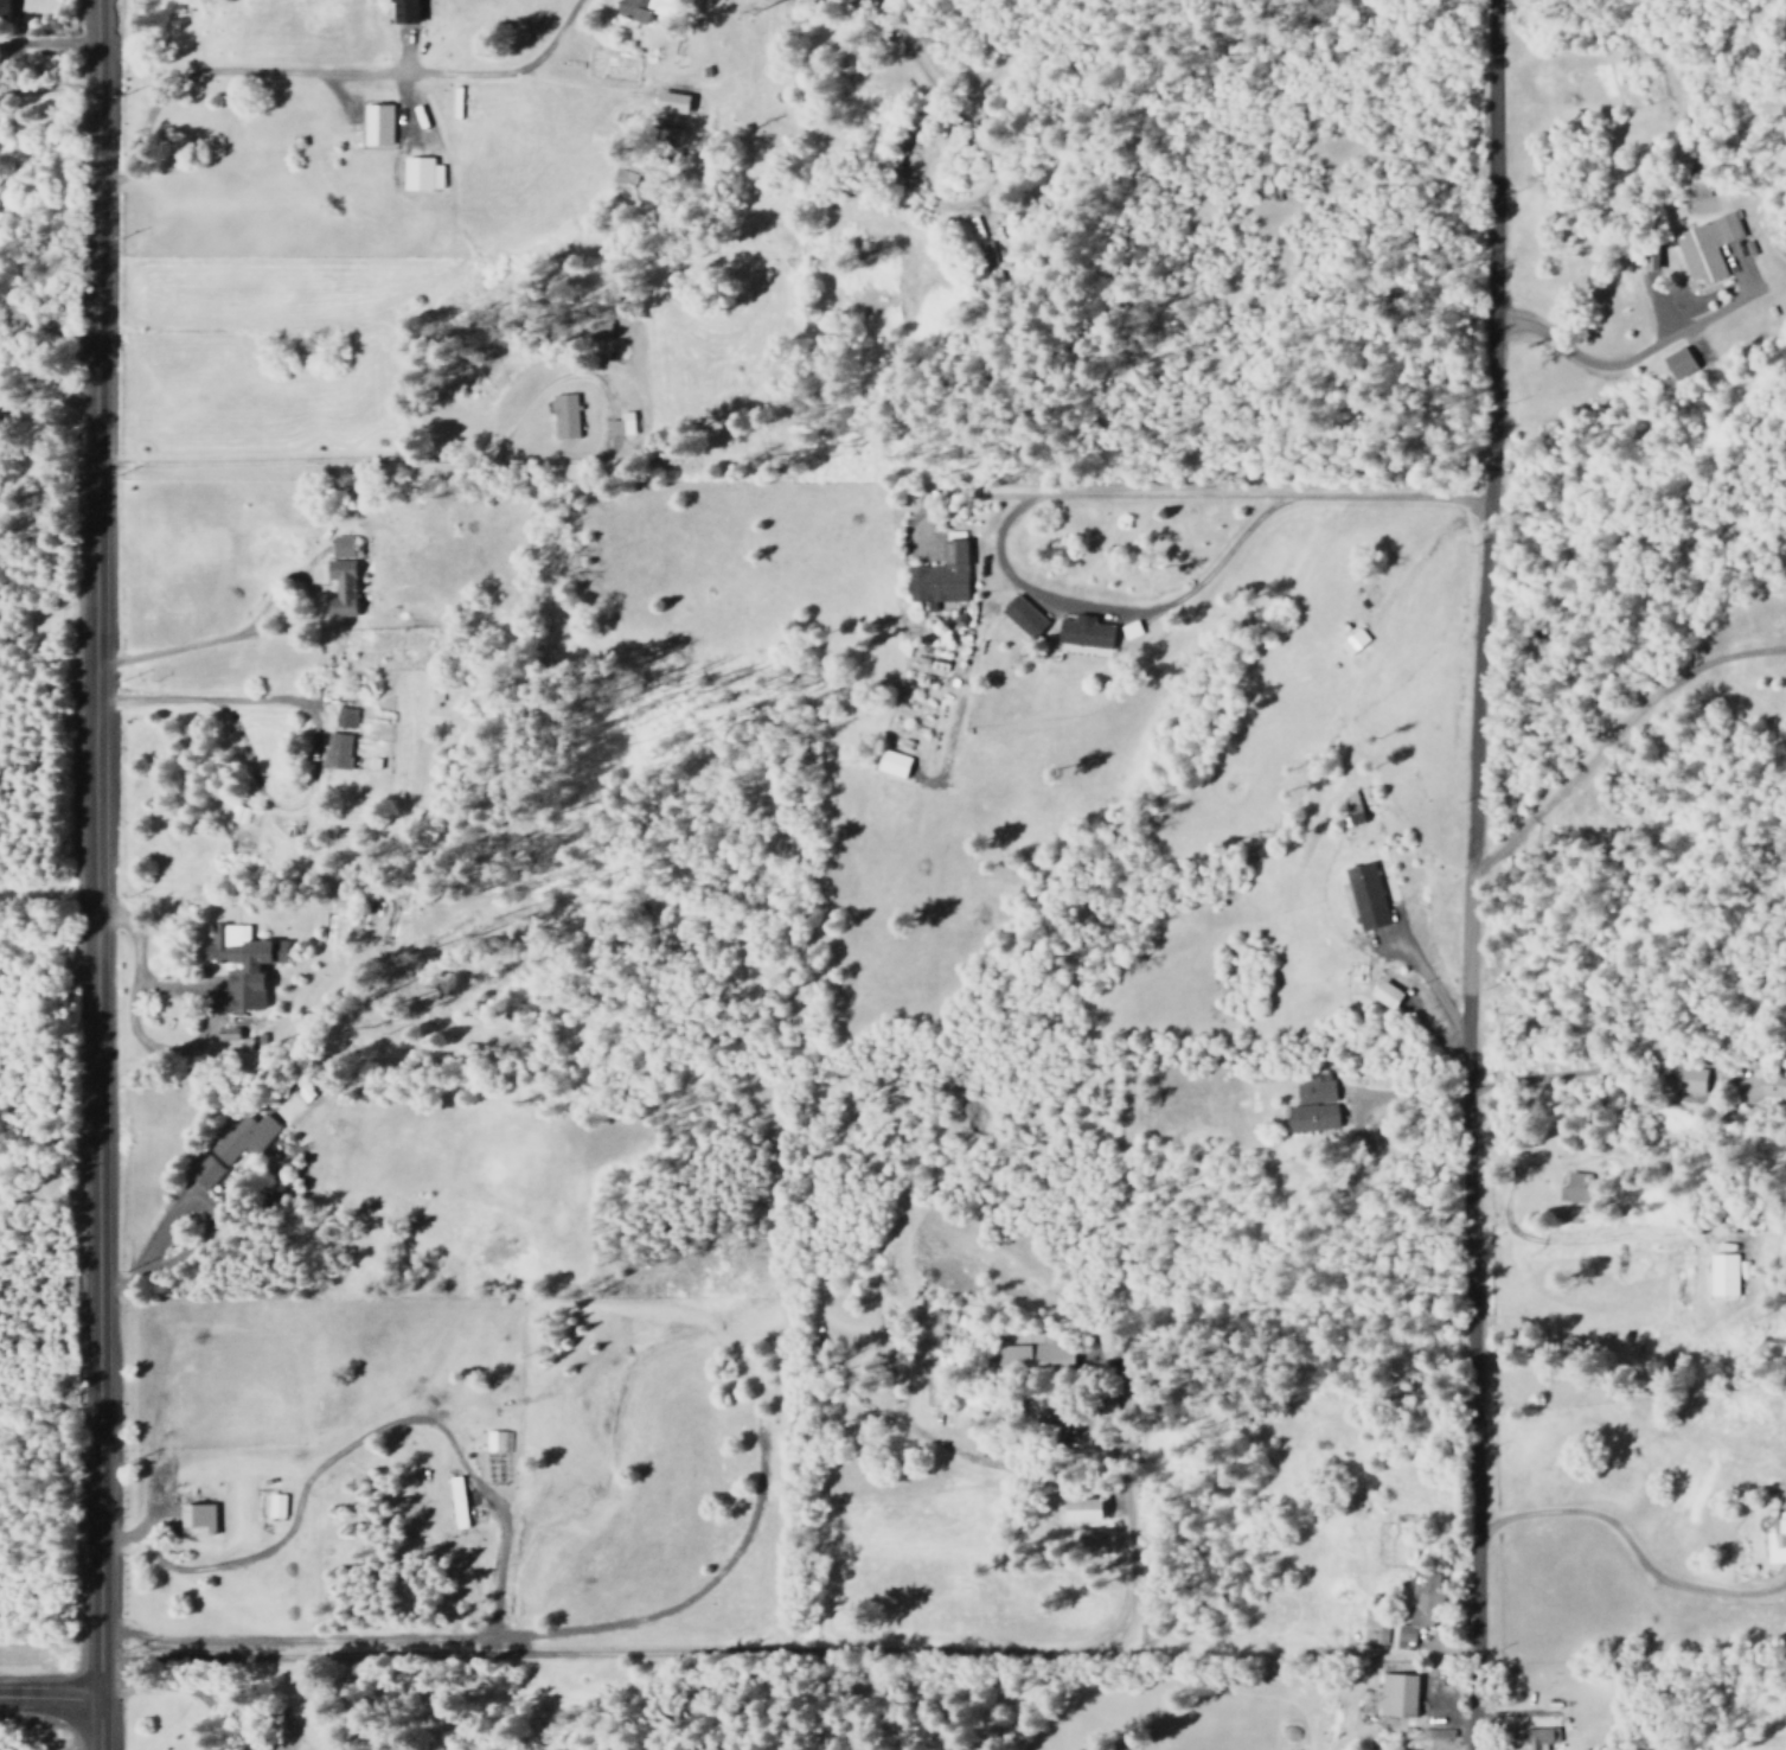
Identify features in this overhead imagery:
building: (648, 9)
building: (407, 11)
road: (924, 77)
building: (673, 102)
building: (377, 124)
building: (422, 174)
building: (625, 183)
building: (1708, 247)
building: (1678, 363)
building: (565, 416)
building: (622, 424)
road: (1189, 496)
building: (942, 576)
building: (341, 577)
road: (1118, 613)
building: (1024, 617)
building: (1086, 632)
building: (1353, 641)
building: (340, 741)
building: (894, 764)
building: (238, 815)
building: (1351, 816)
road: (1470, 874)
road: (92, 875)
building: (1366, 896)
building: (244, 964)
building: (1388, 995)
building: (1691, 1080)
building: (1761, 1087)
building: (1313, 1106)
building: (230, 1148)
building: (1577, 1188)
building: (1723, 1276)
building: (1023, 1360)
building: (498, 1442)
building: (457, 1502)
building: (275, 1505)
building: (1086, 1509)
building: (198, 1516)
building: (1095, 1539)
building: (1778, 1541)
building: (1423, 1598)
road: (598, 1655)
building: (1398, 1694)
road: (72, 1700)
road: (52, 1701)
building: (1538, 1737)

